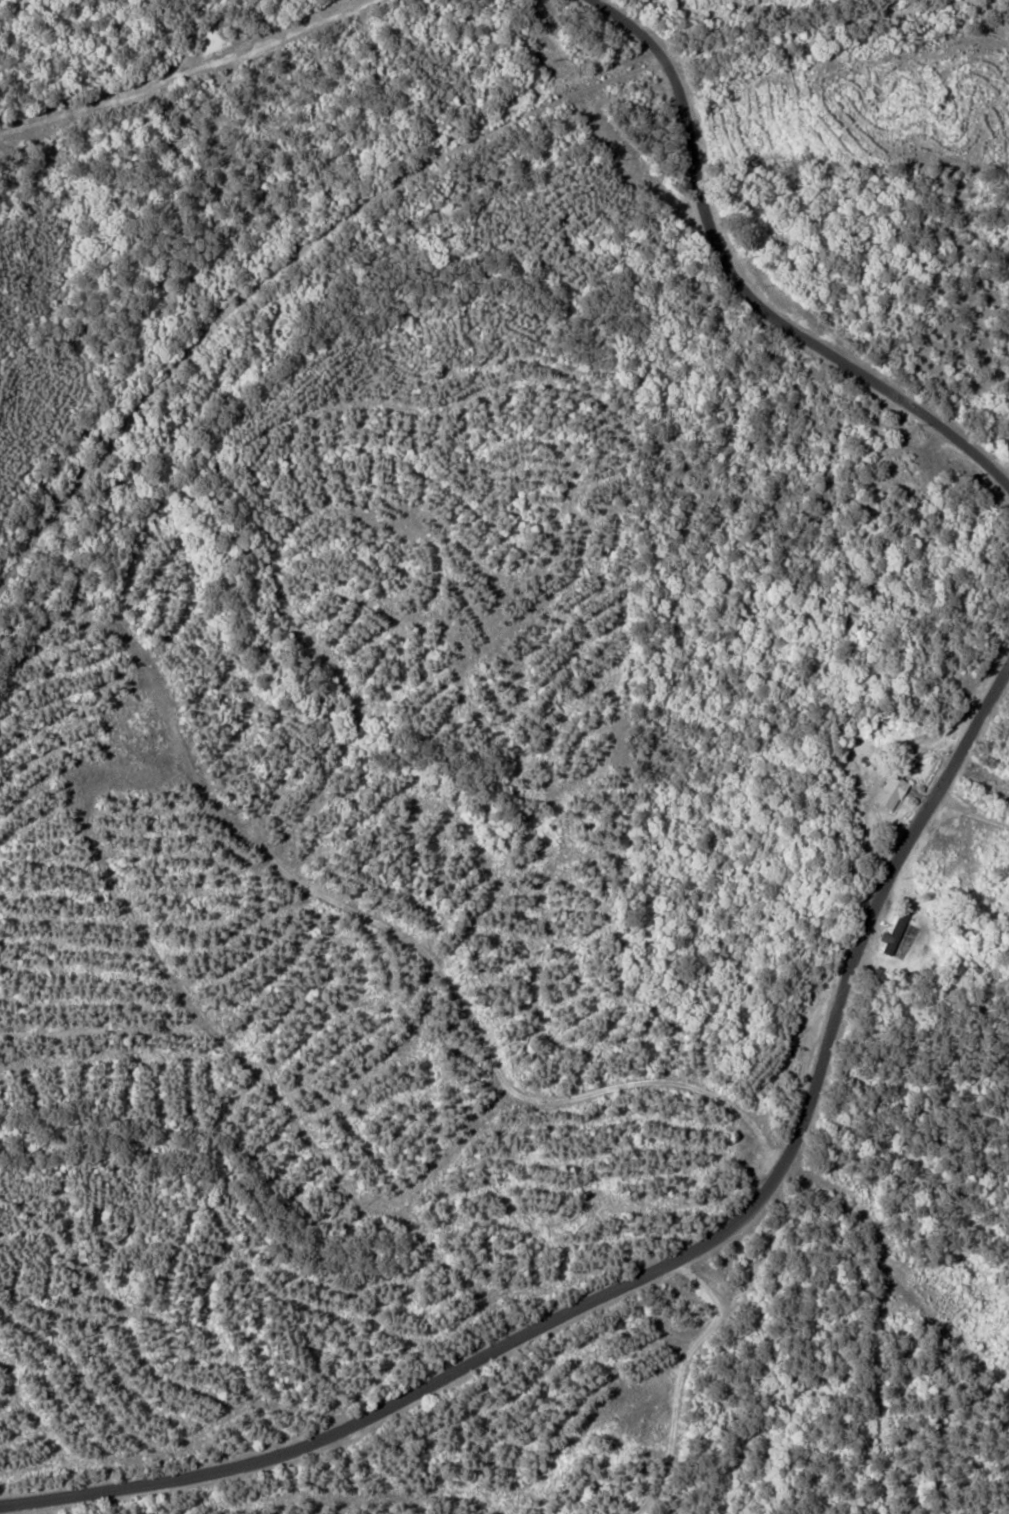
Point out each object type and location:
railway: (279, 267)
road: (741, 287)
building: (888, 790)
building: (891, 932)
road: (660, 1267)

